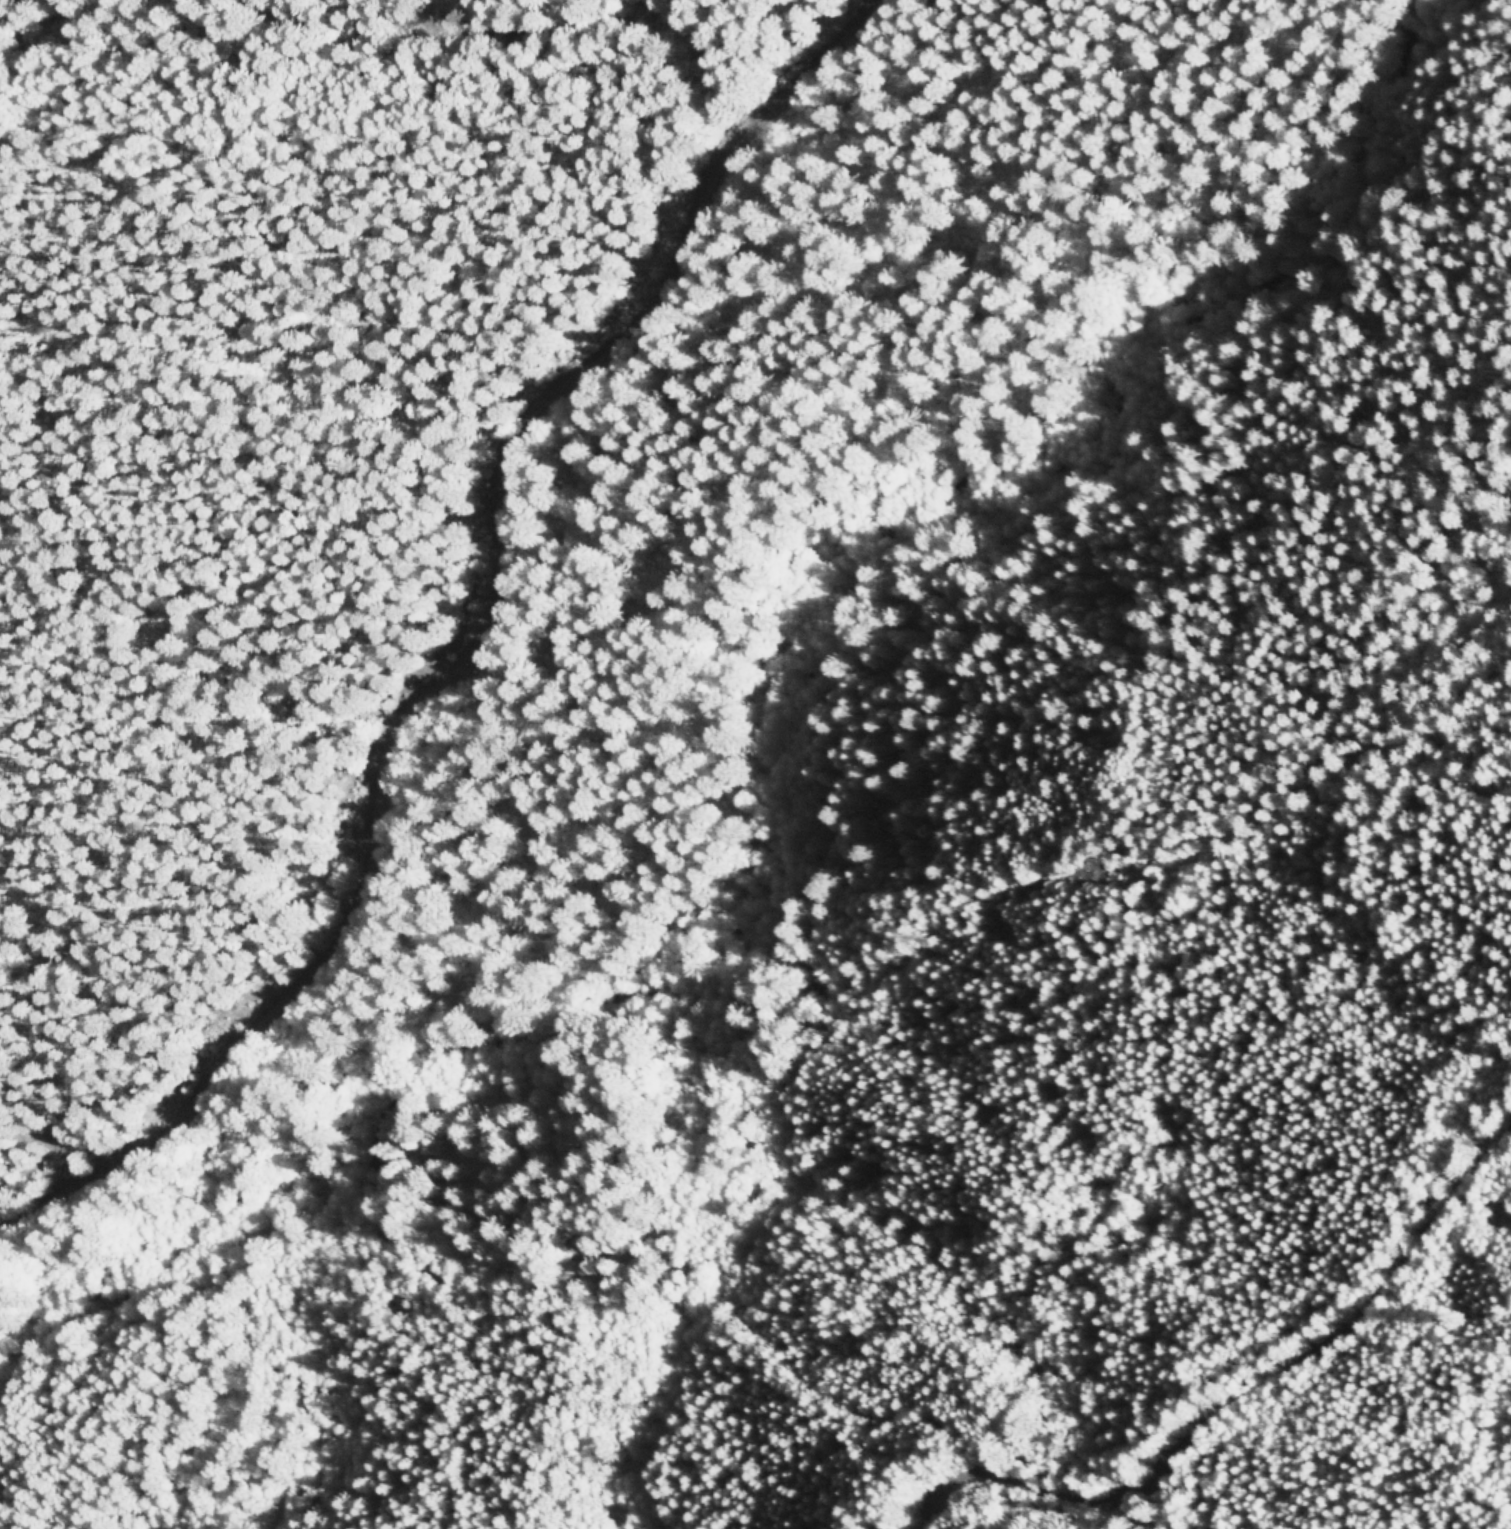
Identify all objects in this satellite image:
road: (433, 608)
road: (1234, 1307)

